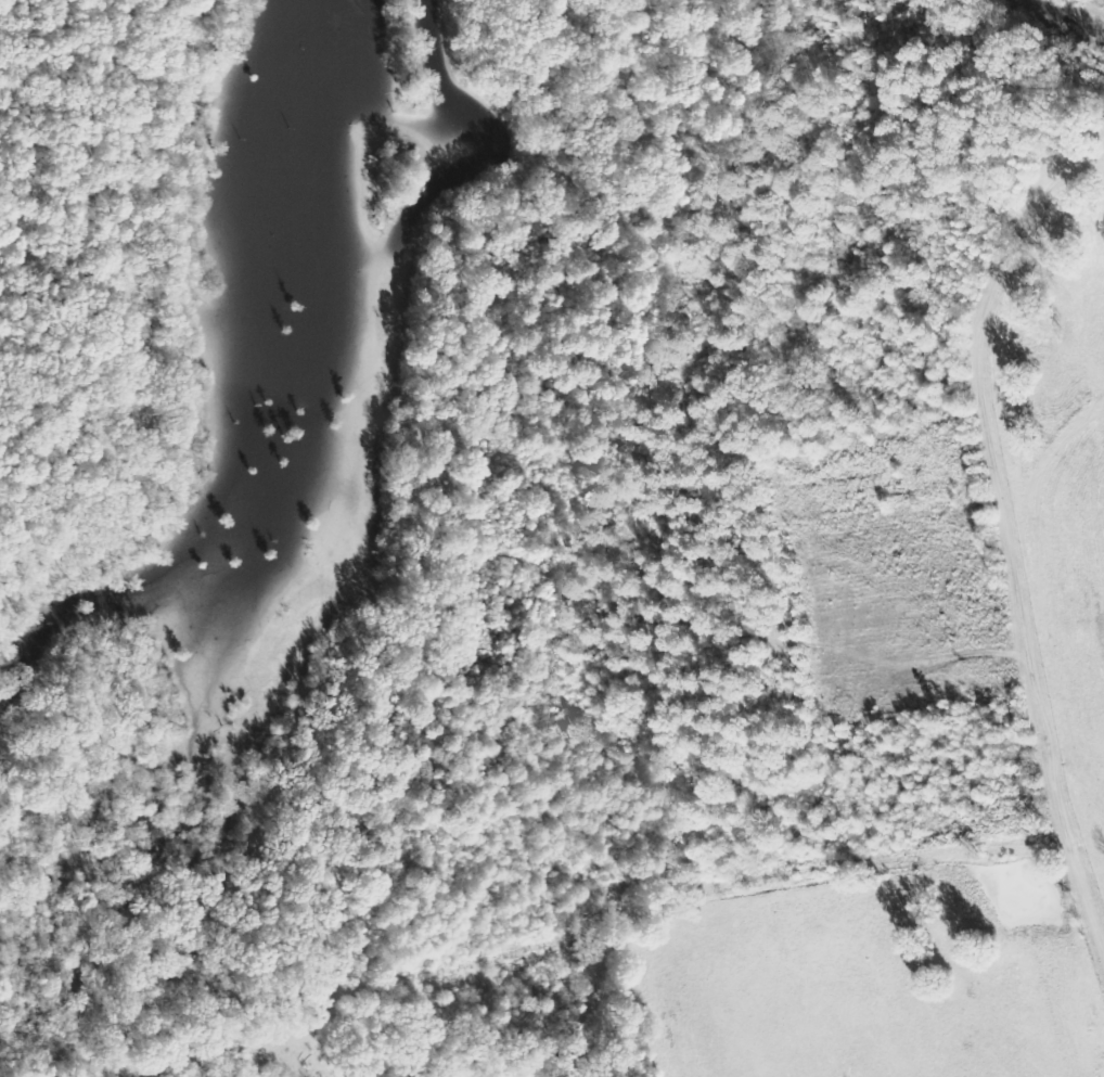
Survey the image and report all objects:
road: (1060, 179)
road: (1087, 562)
road: (1016, 579)

